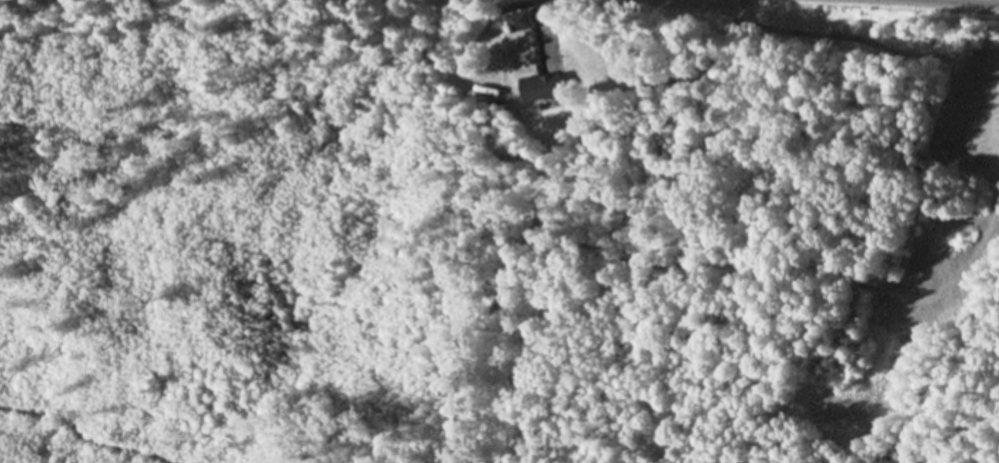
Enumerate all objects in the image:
building: (516, 20)
road: (542, 22)
building: (540, 87)

